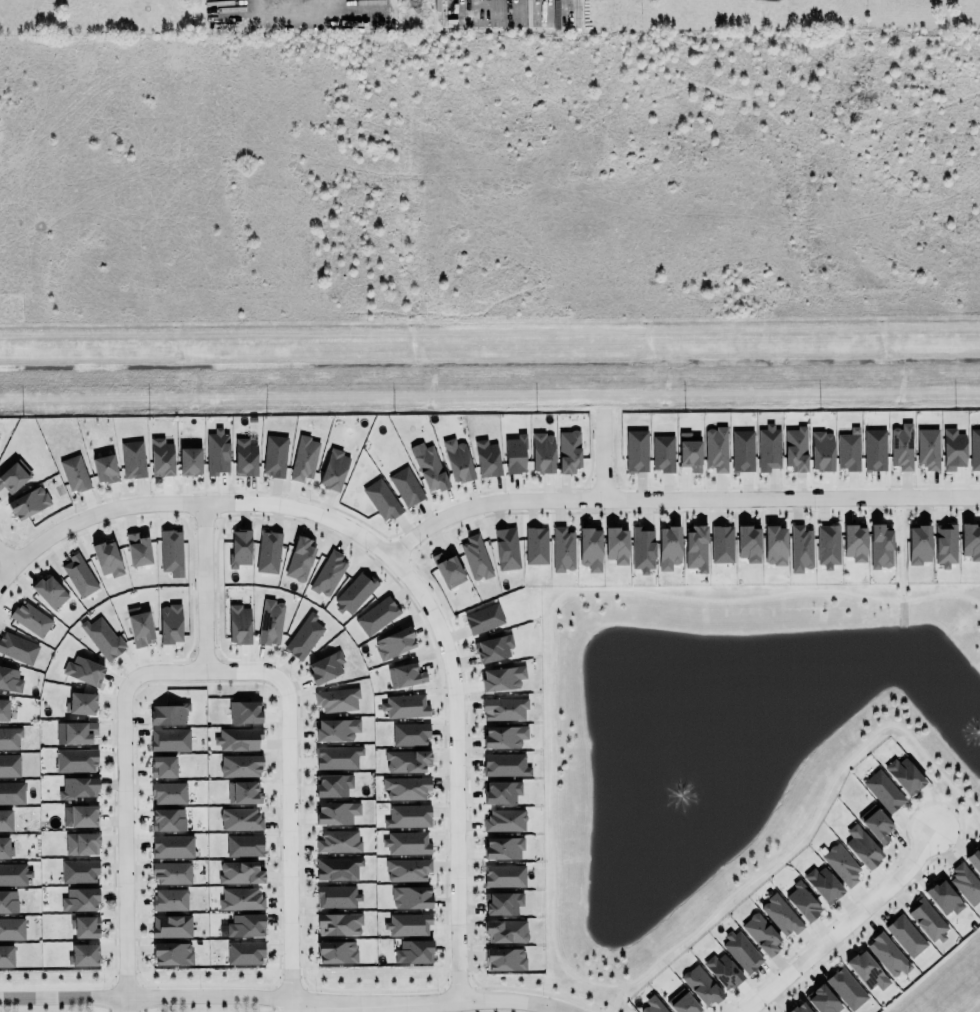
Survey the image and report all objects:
road: (490, 352)
building: (902, 447)
building: (927, 447)
building: (795, 448)
building: (822, 448)
building: (717, 449)
building: (742, 449)
building: (769, 449)
building: (568, 450)
building: (849, 450)
building: (875, 450)
building: (953, 450)
building: (974, 450)
building: (540, 451)
building: (636, 451)
building: (217, 453)
road: (601, 453)
building: (689, 453)
building: (663, 454)
building: (515, 455)
building: (274, 456)
building: (131, 458)
building: (161, 458)
building: (245, 458)
building: (304, 459)
building: (487, 459)
building: (458, 461)
building: (190, 462)
building: (332, 468)
building: (105, 469)
building: (430, 470)
building: (75, 474)
building: (14, 476)
building: (406, 487)
building: (380, 498)
road: (676, 498)
building: (27, 501)
building: (748, 541)
building: (970, 541)
building: (721, 542)
building: (854, 543)
building: (880, 544)
building: (589, 545)
building: (919, 545)
building: (945, 545)
building: (536, 546)
building: (617, 546)
building: (775, 546)
building: (828, 546)
building: (799, 547)
building: (240, 548)
building: (669, 548)
building: (507, 549)
building: (696, 549)
building: (138, 550)
building: (563, 550)
building: (643, 550)
building: (171, 552)
building: (268, 552)
road: (7, 558)
building: (107, 559)
building: (476, 559)
building: (300, 560)
building: (446, 568)
road: (7, 573)
building: (328, 574)
building: (79, 576)
road: (409, 577)
road: (204, 587)
building: (48, 590)
building: (354, 594)
building: (377, 616)
building: (31, 619)
building: (484, 619)
building: (237, 623)
building: (271, 623)
building: (170, 624)
building: (140, 627)
building: (304, 637)
building: (103, 638)
building: (395, 644)
building: (17, 648)
building: (493, 649)
building: (324, 666)
building: (84, 671)
building: (404, 673)
building: (502, 679)
building: (10, 680)
building: (336, 699)
building: (81, 704)
building: (405, 706)
building: (503, 707)
building: (3, 708)
building: (245, 712)
building: (168, 715)
fountain: (968, 728)
building: (336, 730)
building: (77, 731)
building: (409, 732)
building: (504, 737)
building: (10, 738)
building: (168, 738)
building: (239, 739)
building: (337, 758)
building: (74, 759)
building: (405, 759)
building: (9, 764)
building: (239, 764)
building: (505, 765)
building: (163, 767)
fountain: (683, 776)
building: (904, 776)
building: (333, 785)
building: (77, 786)
building: (406, 787)
building: (883, 790)
building: (242, 791)
building: (502, 792)
building: (12, 793)
building: (169, 794)
road: (288, 804)
road: (124, 807)
building: (337, 813)
building: (82, 814)
building: (409, 817)
building: (5, 820)
building: (168, 820)
building: (240, 820)
building: (505, 821)
building: (876, 824)
building: (339, 842)
building: (243, 843)
building: (407, 843)
building: (81, 844)
building: (170, 845)
building: (862, 847)
building: (5, 848)
building: (503, 849)
building: (974, 860)
building: (841, 865)
building: (336, 867)
building: (408, 870)
building: (170, 871)
building: (80, 872)
building: (13, 873)
building: (240, 873)
building: (503, 874)
building: (965, 884)
building: (823, 885)
building: (336, 895)
building: (240, 898)
building: (411, 898)
building: (943, 898)
building: (168, 899)
building: (803, 899)
building: (80, 900)
building: (8, 902)
building: (501, 902)
building: (779, 914)
building: (927, 921)
building: (170, 925)
building: (339, 925)
building: (408, 925)
road: (844, 925)
building: (85, 927)
building: (243, 927)
building: (12, 929)
building: (506, 931)
building: (761, 934)
building: (905, 936)
building: (171, 951)
building: (243, 951)
building: (335, 951)
building: (414, 952)
building: (742, 952)
building: (888, 955)
building: (6, 956)
building: (83, 956)
building: (503, 958)
building: (865, 969)
building: (723, 972)
building: (701, 986)
building: (846, 989)
road: (146, 995)
building: (822, 1000)
road: (430, 1002)
building: (682, 1002)
building: (653, 1004)
building: (797, 1008)
road: (287, 1010)

